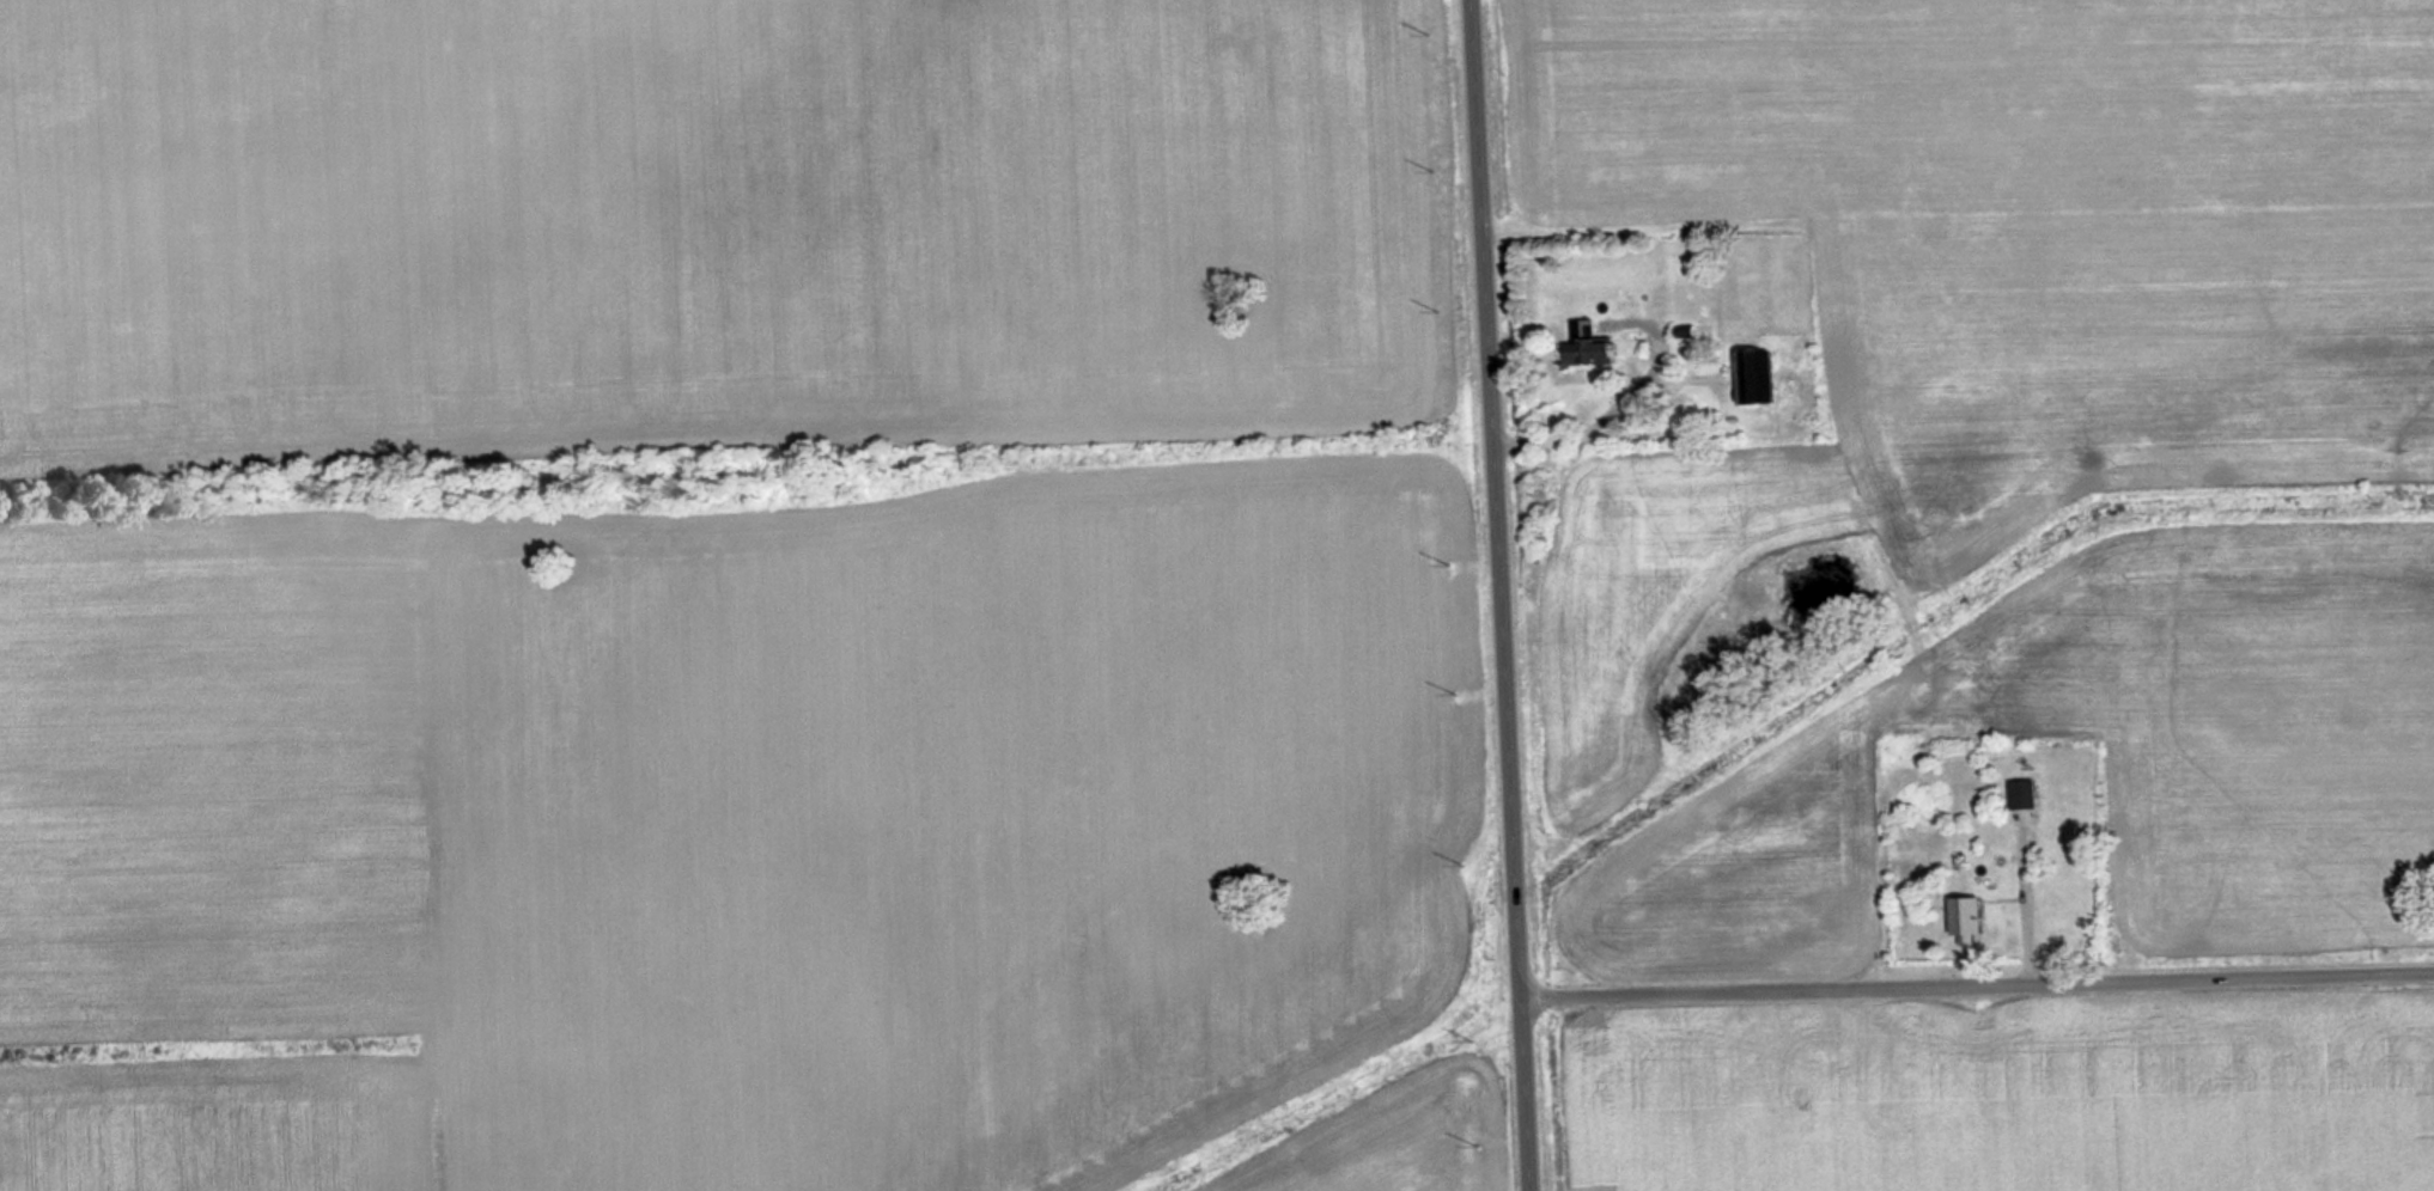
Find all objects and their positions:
building: (1587, 346)
building: (1753, 377)
road: (1508, 594)
building: (2024, 794)
building: (1969, 920)
road: (1982, 984)

